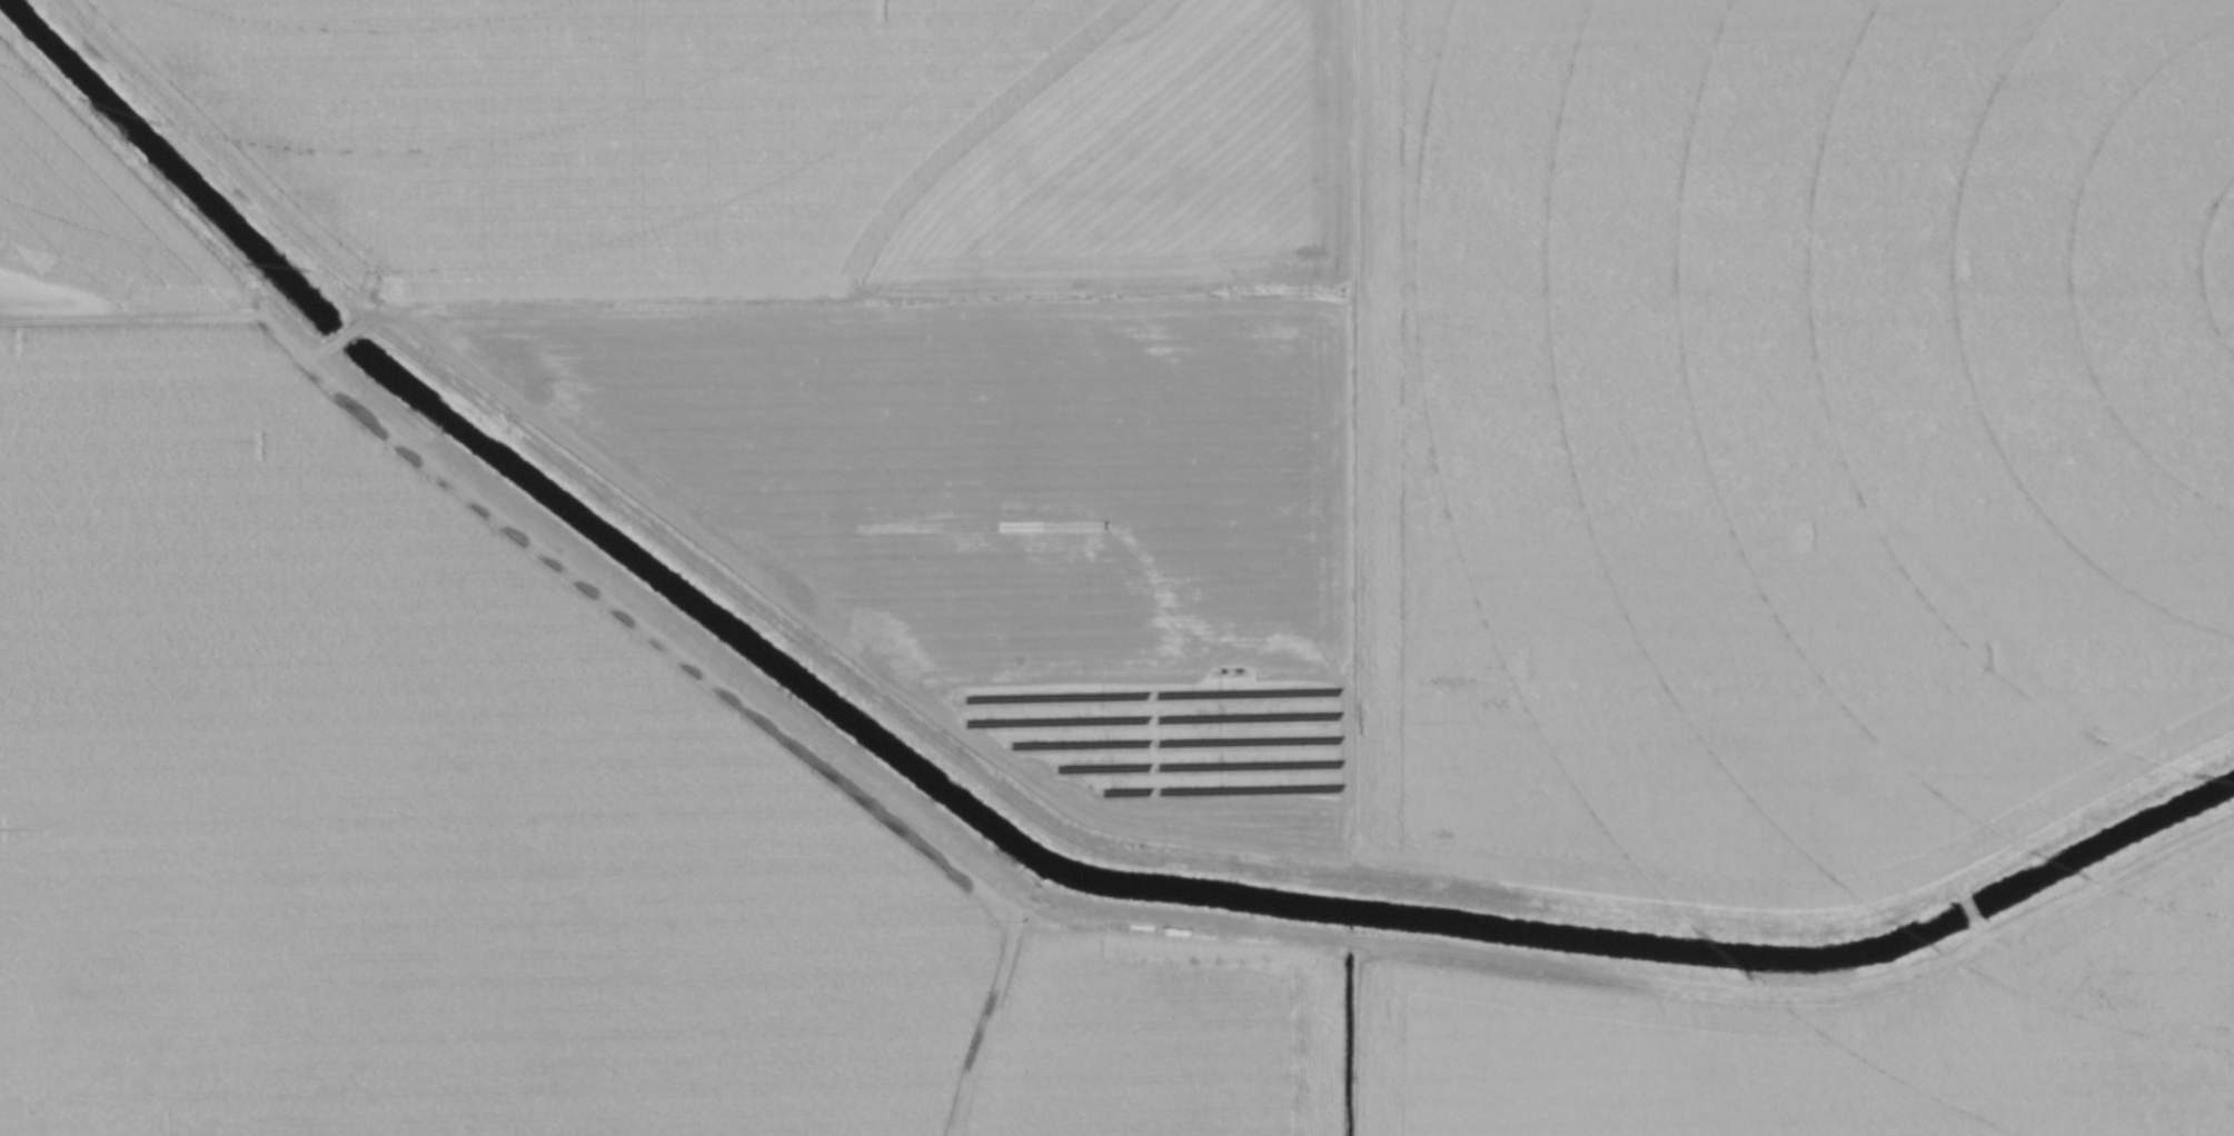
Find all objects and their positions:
crop: (1371, 382)
crop: (717, 840)

